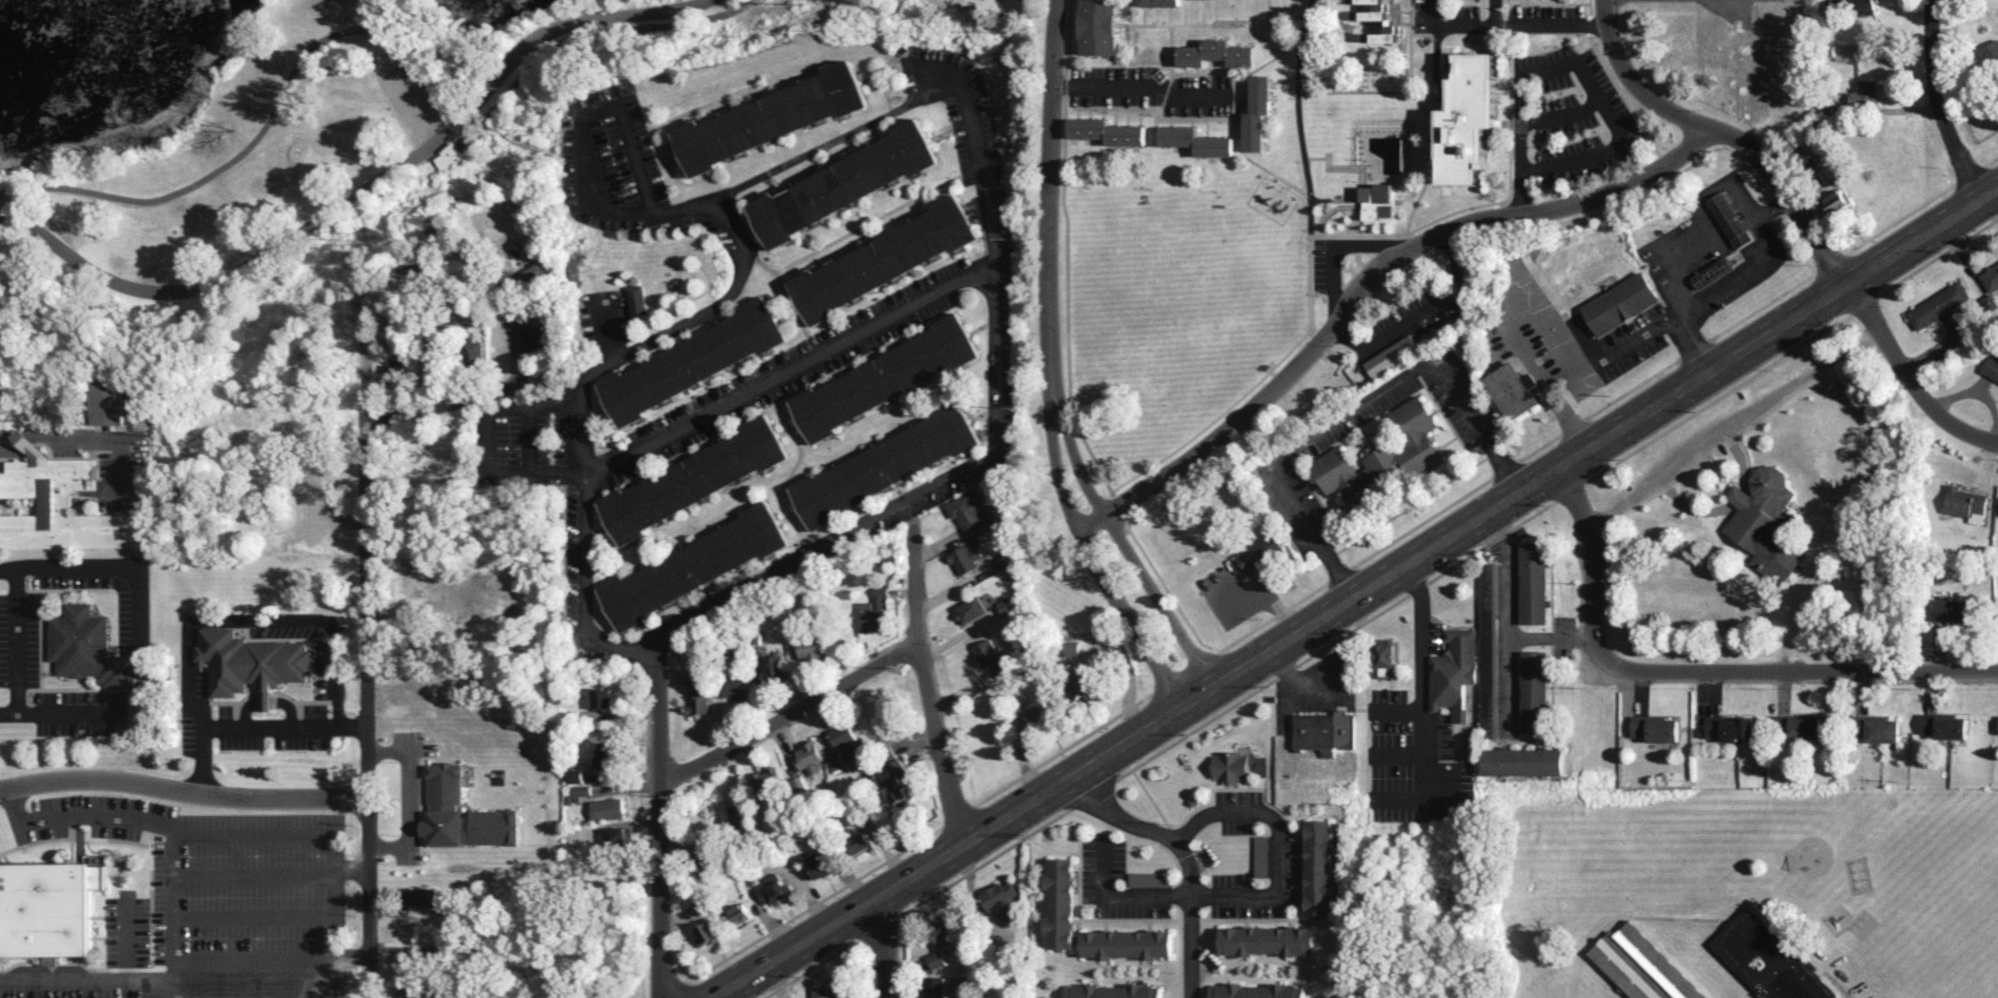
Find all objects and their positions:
building: (1161, 2)
road: (1549, 2)
building: (1868, 5)
road: (1588, 7)
building: (1375, 9)
road: (1268, 10)
road: (1183, 12)
road: (1496, 12)
road: (1129, 13)
road: (1551, 22)
road: (1588, 22)
road: (1269, 23)
road: (1452, 24)
building: (1099, 27)
road: (375, 29)
building: (1388, 32)
road: (1169, 35)
road: (1129, 36)
road: (1067, 37)
building: (1990, 52)
building: (1217, 53)
road: (1631, 79)
road: (1163, 80)
road: (1064, 84)
road: (1142, 86)
road: (1967, 86)
road: (1353, 90)
building: (1864, 91)
road: (1619, 93)
road: (1159, 97)
road: (1937, 100)
road: (1159, 108)
building: (1258, 112)
road: (1297, 115)
road: (1561, 116)
building: (769, 117)
building: (1468, 117)
road: (1239, 118)
road: (1433, 121)
road: (1611, 122)
building: (1108, 131)
park: (273, 133)
road: (1521, 137)
building: (1198, 140)
road: (830, 141)
building: (448, 157)
road: (980, 162)
road: (1663, 165)
building: (844, 183)
road: (361, 191)
road: (1785, 191)
building: (1377, 198)
building: (1837, 200)
road: (1344, 204)
road: (720, 208)
road: (1498, 213)
building: (1730, 219)
road: (1314, 222)
road: (1392, 231)
road: (1337, 250)
building: (883, 259)
road: (1052, 261)
road: (420, 262)
building: (1713, 272)
building: (535, 273)
road: (1372, 274)
building: (1990, 276)
road: (1724, 286)
building: (639, 298)
road: (1067, 298)
building: (1990, 301)
building: (1621, 303)
building: (1939, 304)
road: (1422, 314)
road: (609, 328)
building: (534, 335)
building: (474, 351)
road: (1613, 354)
building: (1391, 355)
building: (693, 360)
road: (790, 367)
building: (1991, 367)
building: (394, 373)
building: (885, 377)
road: (1908, 377)
building: (1513, 389)
road: (1555, 393)
road: (1613, 398)
road: (440, 401)
building: (109, 404)
road: (994, 409)
road: (1353, 410)
road: (1215, 416)
road: (1734, 424)
road: (102, 433)
road: (24, 439)
road: (486, 439)
road: (9, 448)
building: (1383, 456)
building: (885, 465)
building: (694, 479)
building: (1965, 503)
building: (60, 505)
building: (970, 509)
building: (1764, 522)
building: (1261, 553)
building: (966, 558)
road: (105, 564)
building: (694, 565)
road: (769, 569)
building: (1534, 582)
road: (584, 588)
road: (62, 589)
building: (1485, 593)
road: (1363, 597)
road: (1163, 600)
building: (1006, 605)
building: (970, 609)
building: (1952, 609)
building: (875, 610)
road: (1131, 613)
road: (285, 619)
road: (1507, 620)
road: (46, 621)
road: (1552, 636)
road: (311, 639)
road: (41, 640)
road: (17, 642)
building: (89, 648)
building: (809, 648)
building: (1072, 648)
building: (1385, 655)
building: (991, 656)
building: (252, 663)
road: (370, 664)
building: (771, 667)
building: (1453, 671)
road: (1700, 671)
road: (1421, 679)
building: (1081, 681)
road: (80, 684)
building: (736, 685)
road: (189, 686)
road: (335, 687)
road: (71, 690)
building: (1534, 691)
road: (268, 693)
road: (918, 693)
building: (603, 697)
road: (268, 699)
road: (303, 701)
building: (699, 701)
road: (217, 702)
road: (290, 706)
road: (246, 707)
building: (1039, 711)
building: (1487, 714)
road: (783, 718)
road: (268, 724)
building: (1942, 725)
building: (1799, 726)
building: (1656, 728)
building: (1728, 728)
building: (1879, 728)
building: (1325, 731)
building: (847, 742)
building: (606, 754)
building: (809, 756)
building: (1523, 761)
building: (835, 762)
building: (1229, 766)
building: (575, 774)
building: (768, 780)
building: (799, 782)
building: (898, 782)
building: (582, 792)
road: (186, 794)
road: (404, 801)
building: (608, 808)
road: (79, 813)
building: (463, 813)
building: (740, 814)
road: (661, 820)
road: (174, 828)
building: (620, 836)
building: (860, 842)
building: (1260, 855)
road: (1184, 857)
building: (820, 863)
road: (354, 864)
building: (1319, 867)
building: (1148, 878)
building: (777, 887)
building: (999, 894)
road: (1257, 894)
building: (422, 895)
building: (1060, 902)
building: (700, 904)
road: (151, 907)
building: (47, 909)
building: (740, 913)
building: (1011, 915)
building: (946, 932)
building: (705, 933)
building: (1267, 940)
building: (1127, 943)
road: (886, 946)
road: (356, 958)
building: (937, 958)
building: (412, 959)
building: (1769, 960)
building: (1642, 967)
building: (935, 987)
road: (175, 988)
building: (1113, 991)
building: (1256, 991)
building: (410, 992)
building: (825, 993)
building: (1708, 997)

